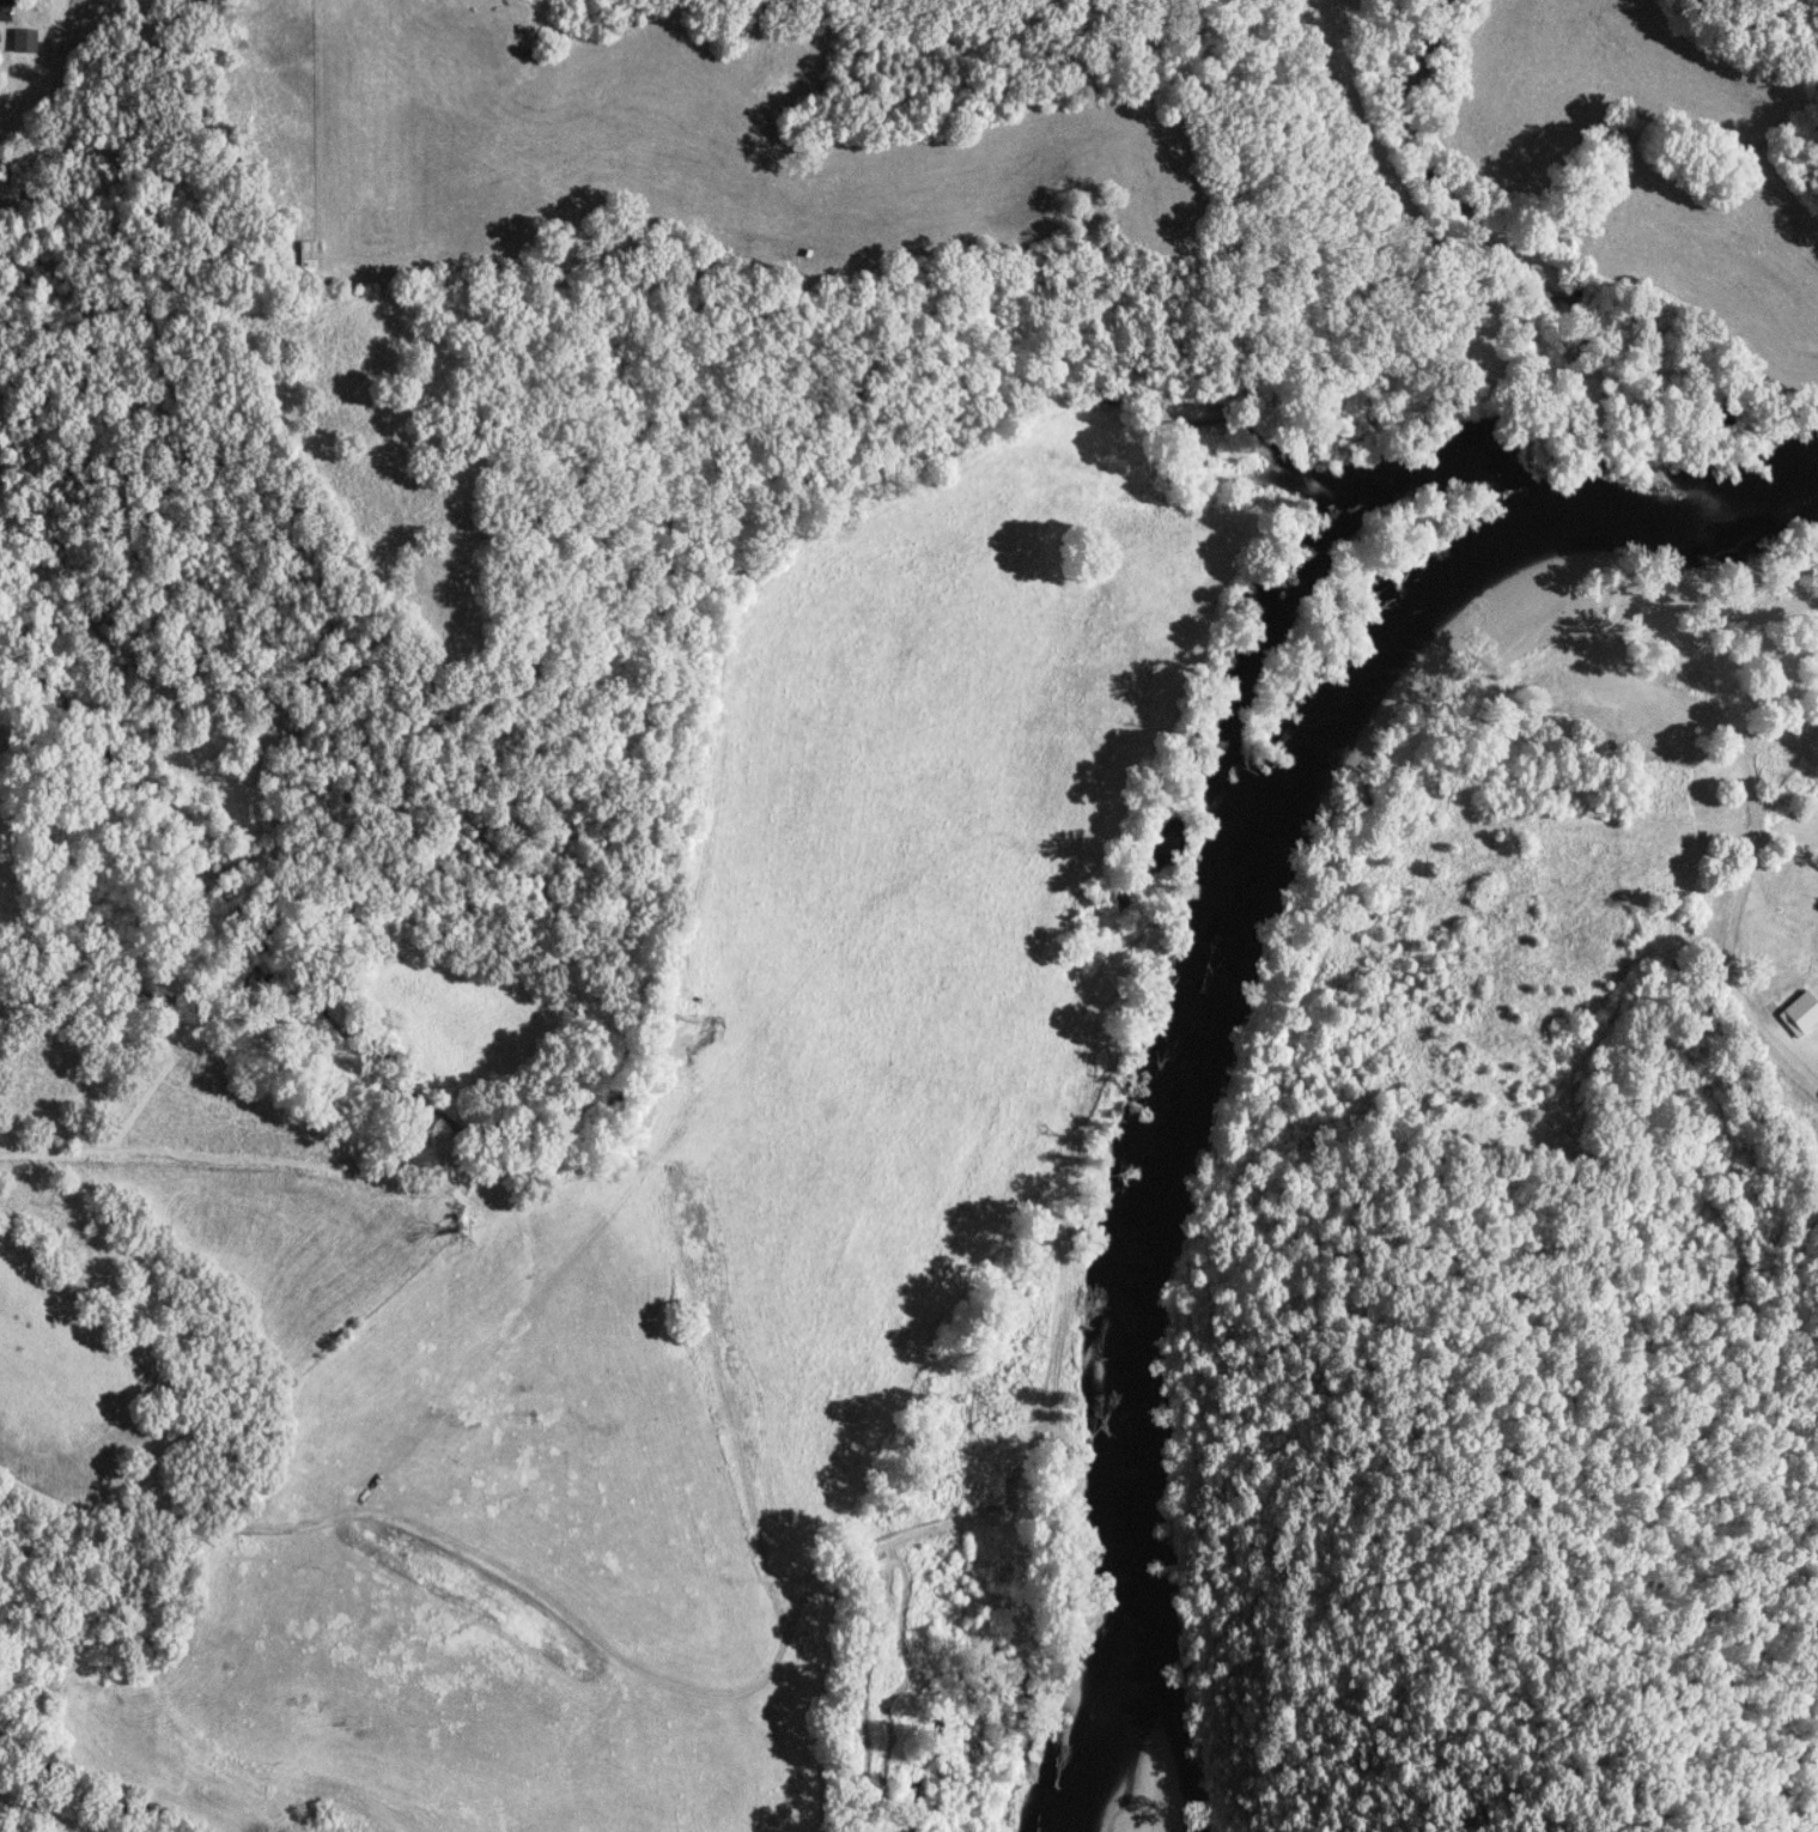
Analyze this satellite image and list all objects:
road: (715, 1)
building: (5, 10)
building: (28, 40)
road: (26, 56)
road: (1752, 838)
river: (1203, 983)
building: (1795, 1013)

